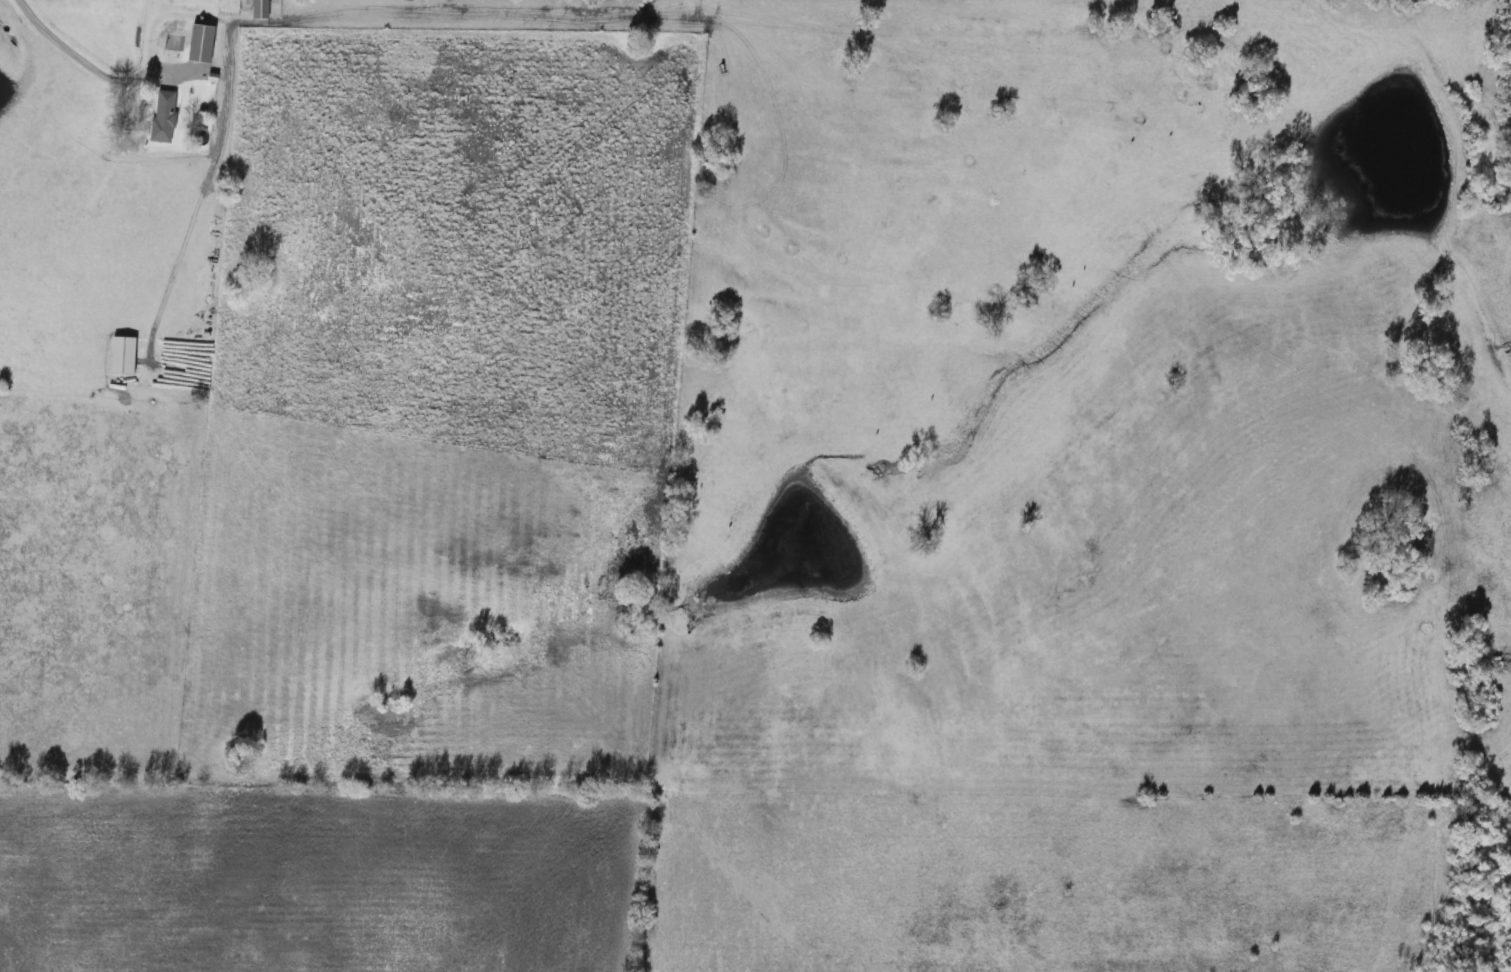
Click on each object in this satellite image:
road: (80, 55)
building: (165, 117)
building: (125, 356)

